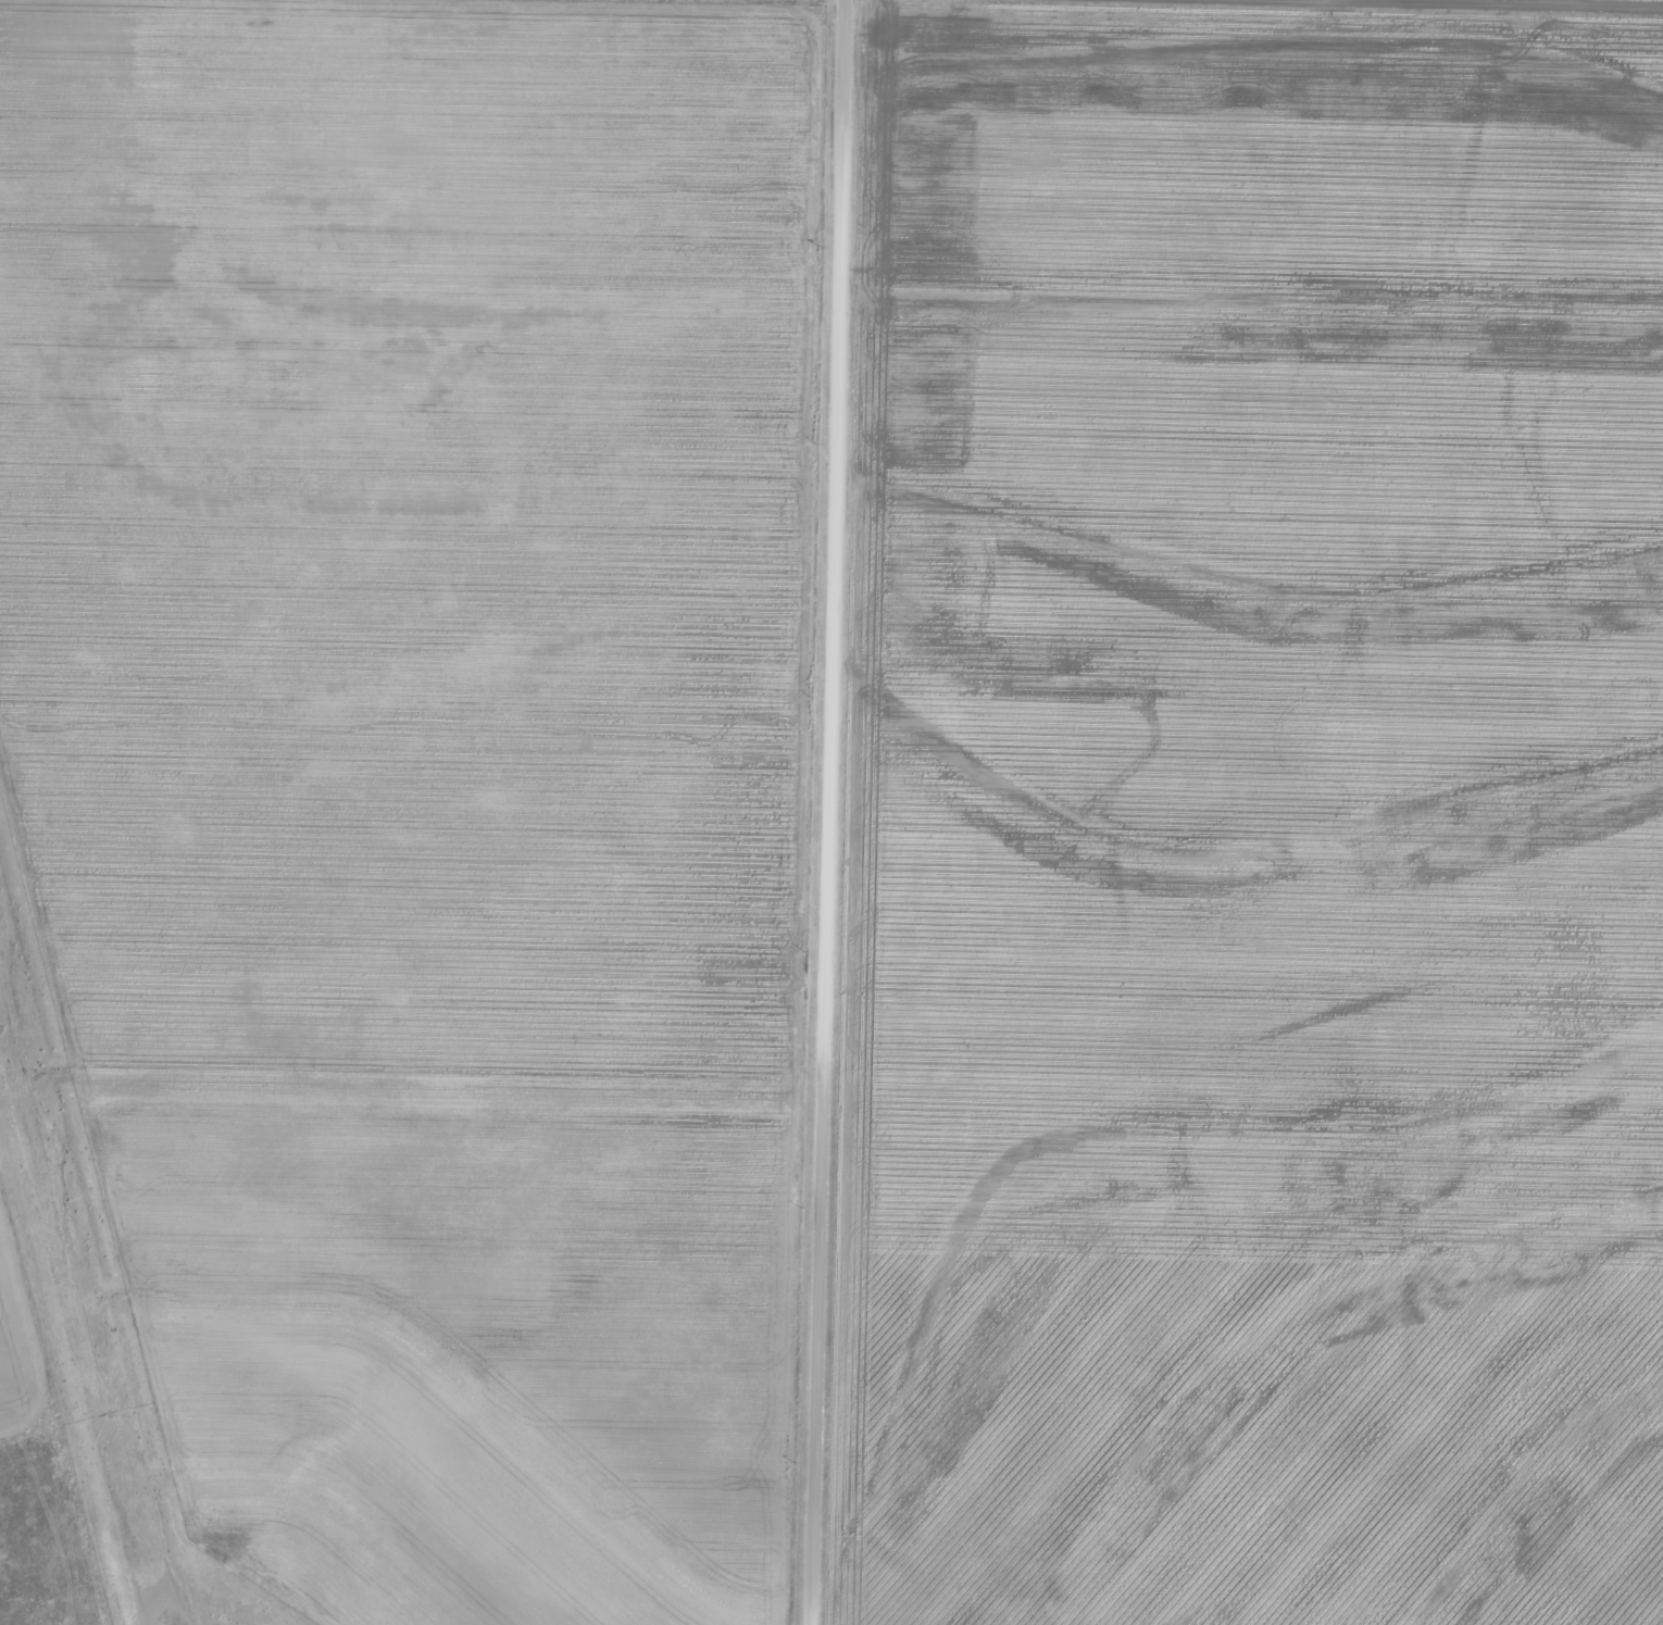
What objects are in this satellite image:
road: (831, 812)

